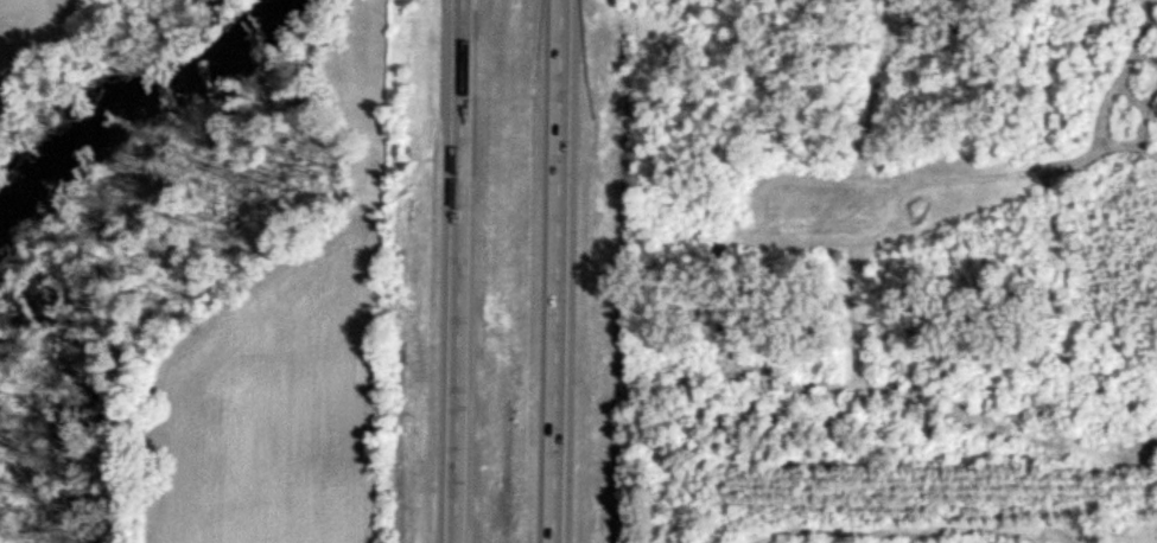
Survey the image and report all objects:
river: (135, 116)
road: (459, 271)
road: (559, 271)

